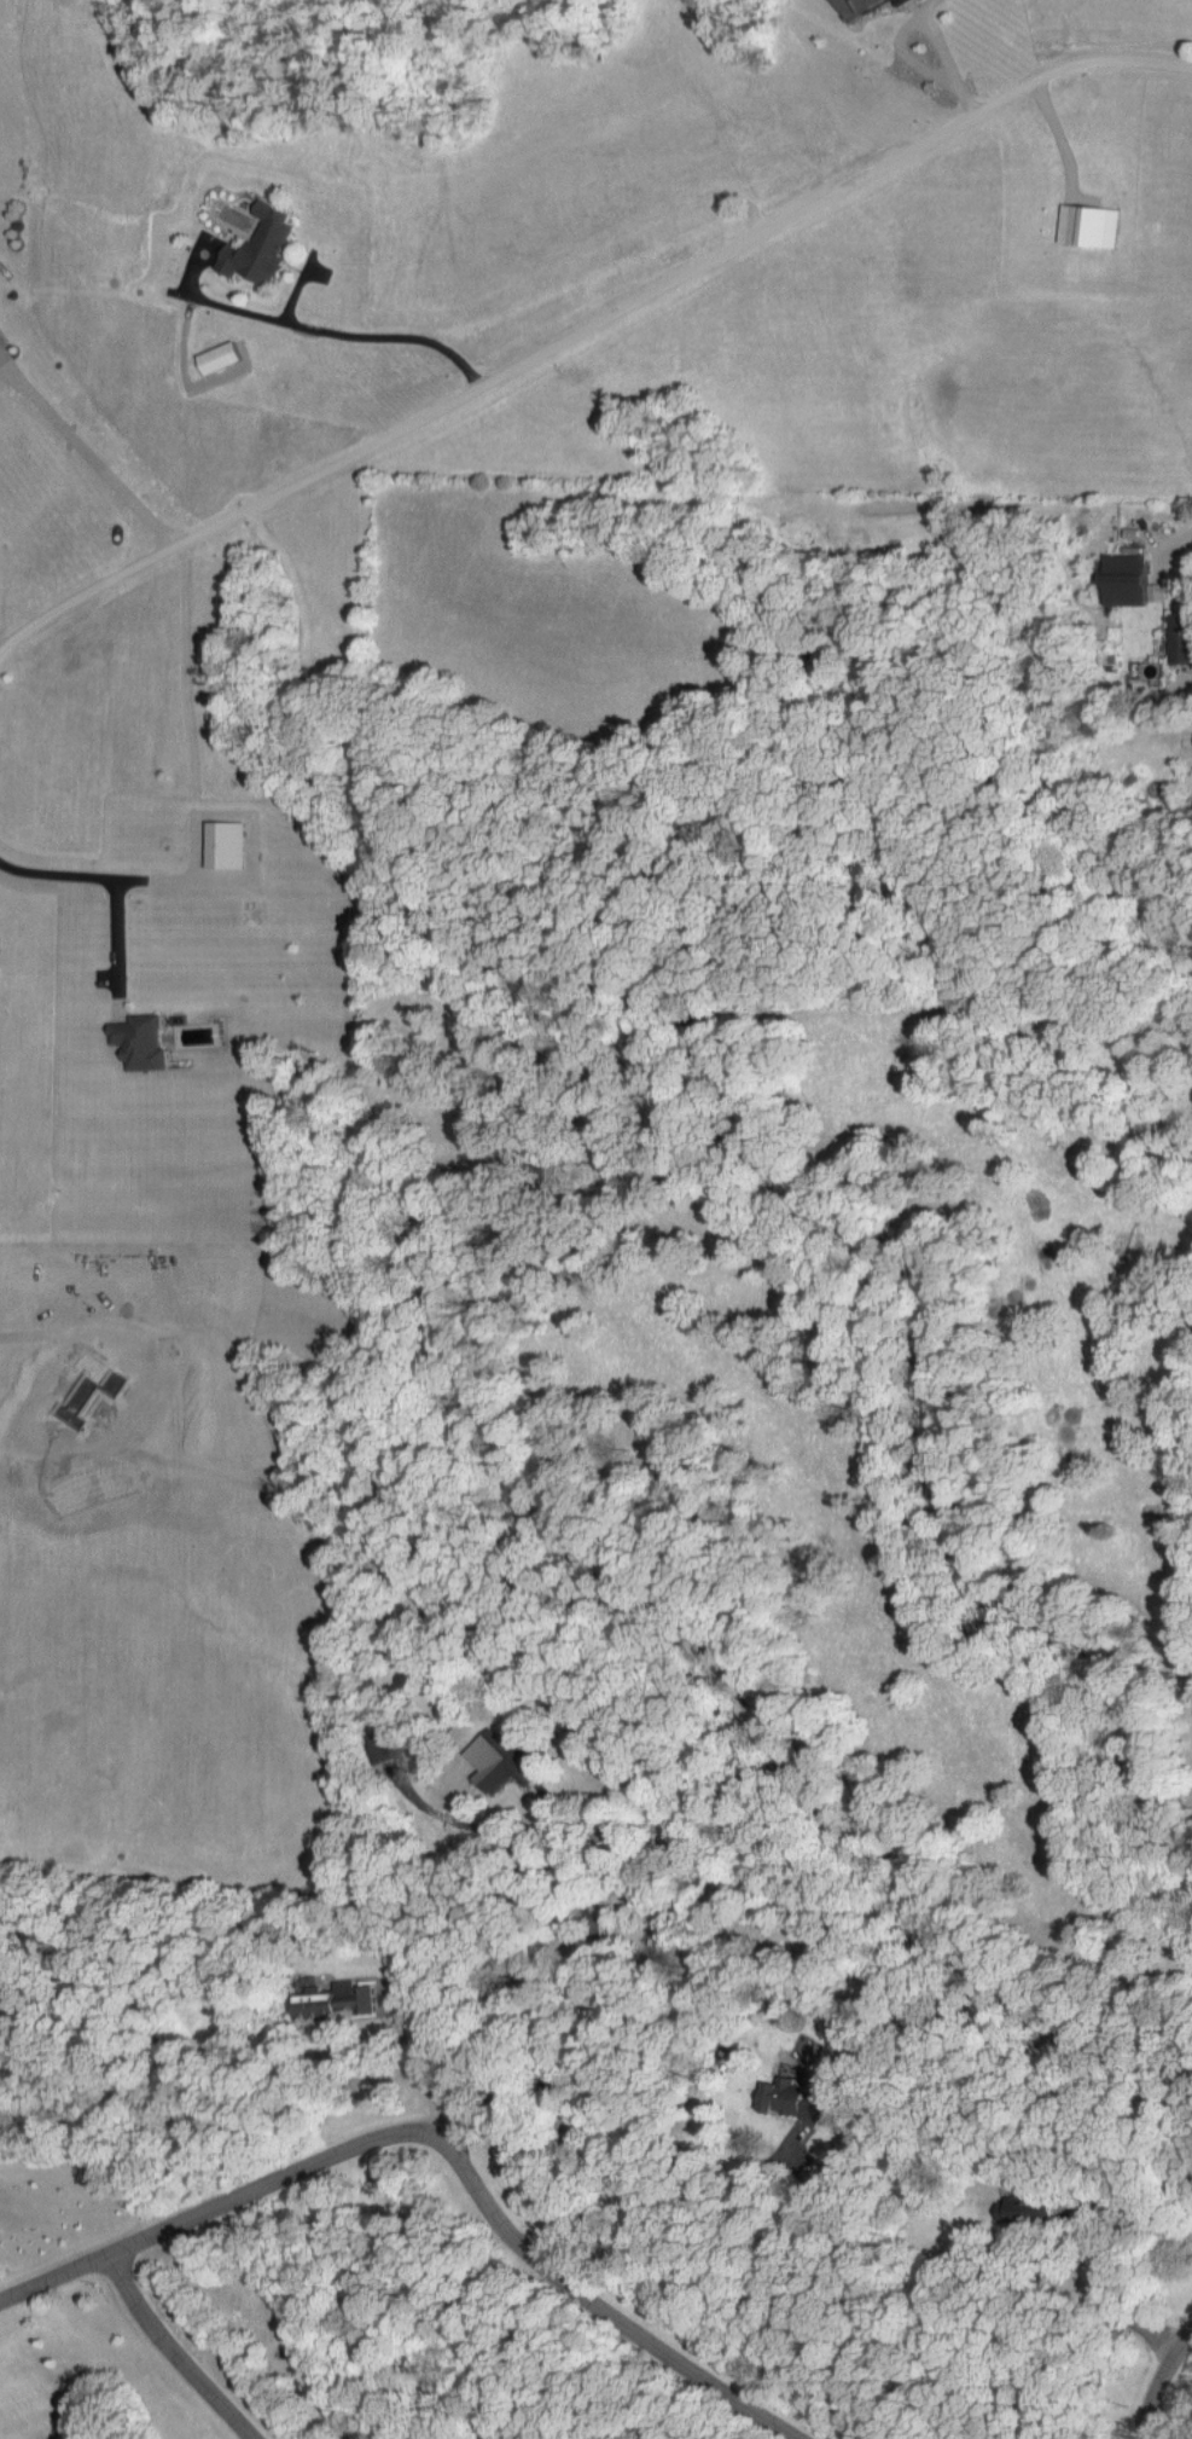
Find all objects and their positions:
building: (1089, 224)
building: (263, 245)
road: (586, 302)
road: (296, 324)
building: (221, 357)
road: (1180, 533)
building: (1129, 579)
building: (1181, 637)
road: (1185, 709)
building: (227, 844)
road: (83, 870)
road: (91, 937)
building: (143, 1041)
building: (506, 1761)
building: (342, 1999)
road: (576, 2000)
building: (786, 2095)
road: (632, 2194)
road: (207, 2209)
building: (1022, 2212)
road: (523, 2261)
road: (193, 2346)
road: (1150, 2380)

